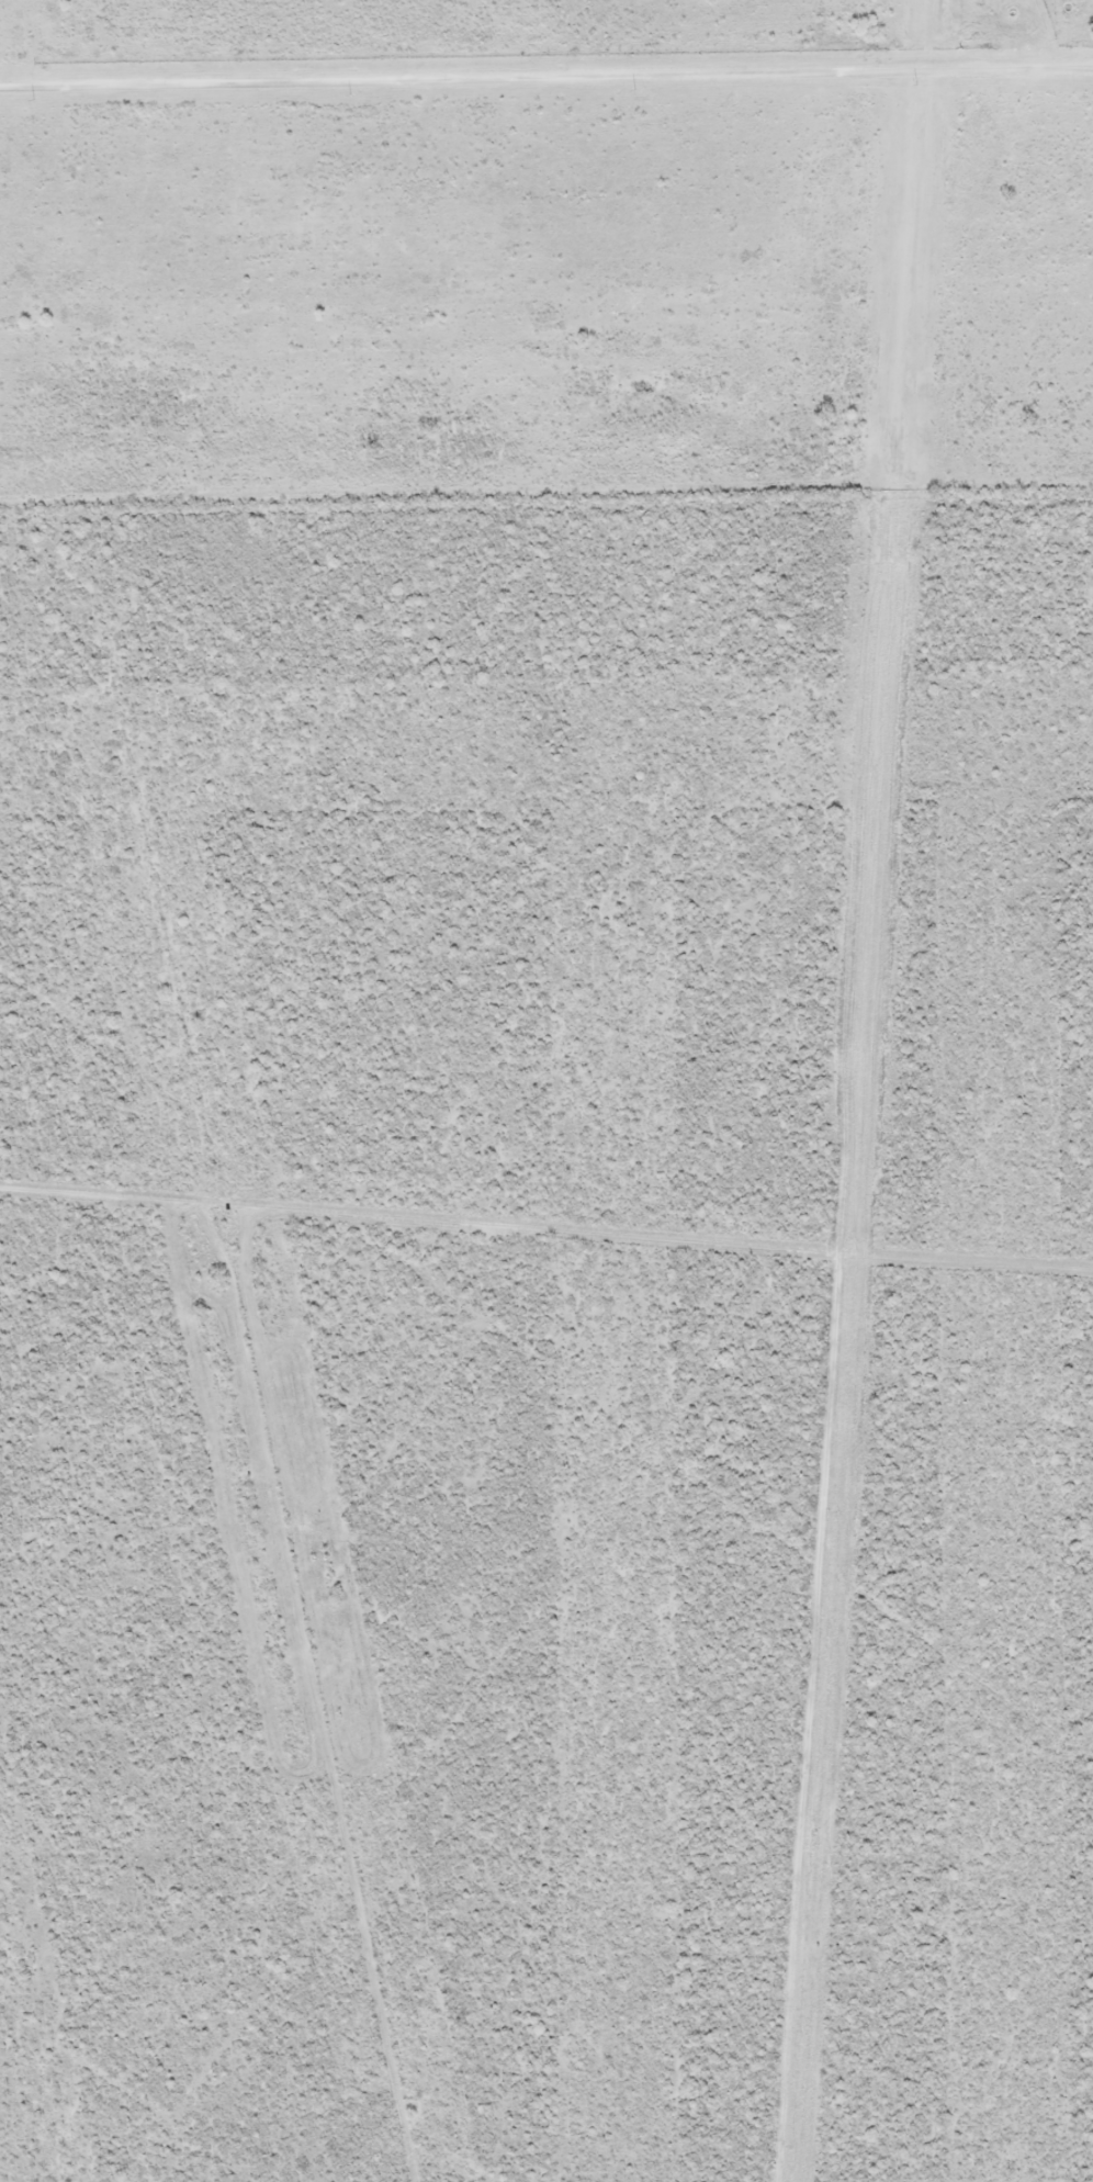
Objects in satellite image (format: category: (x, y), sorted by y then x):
road: (546, 97)

